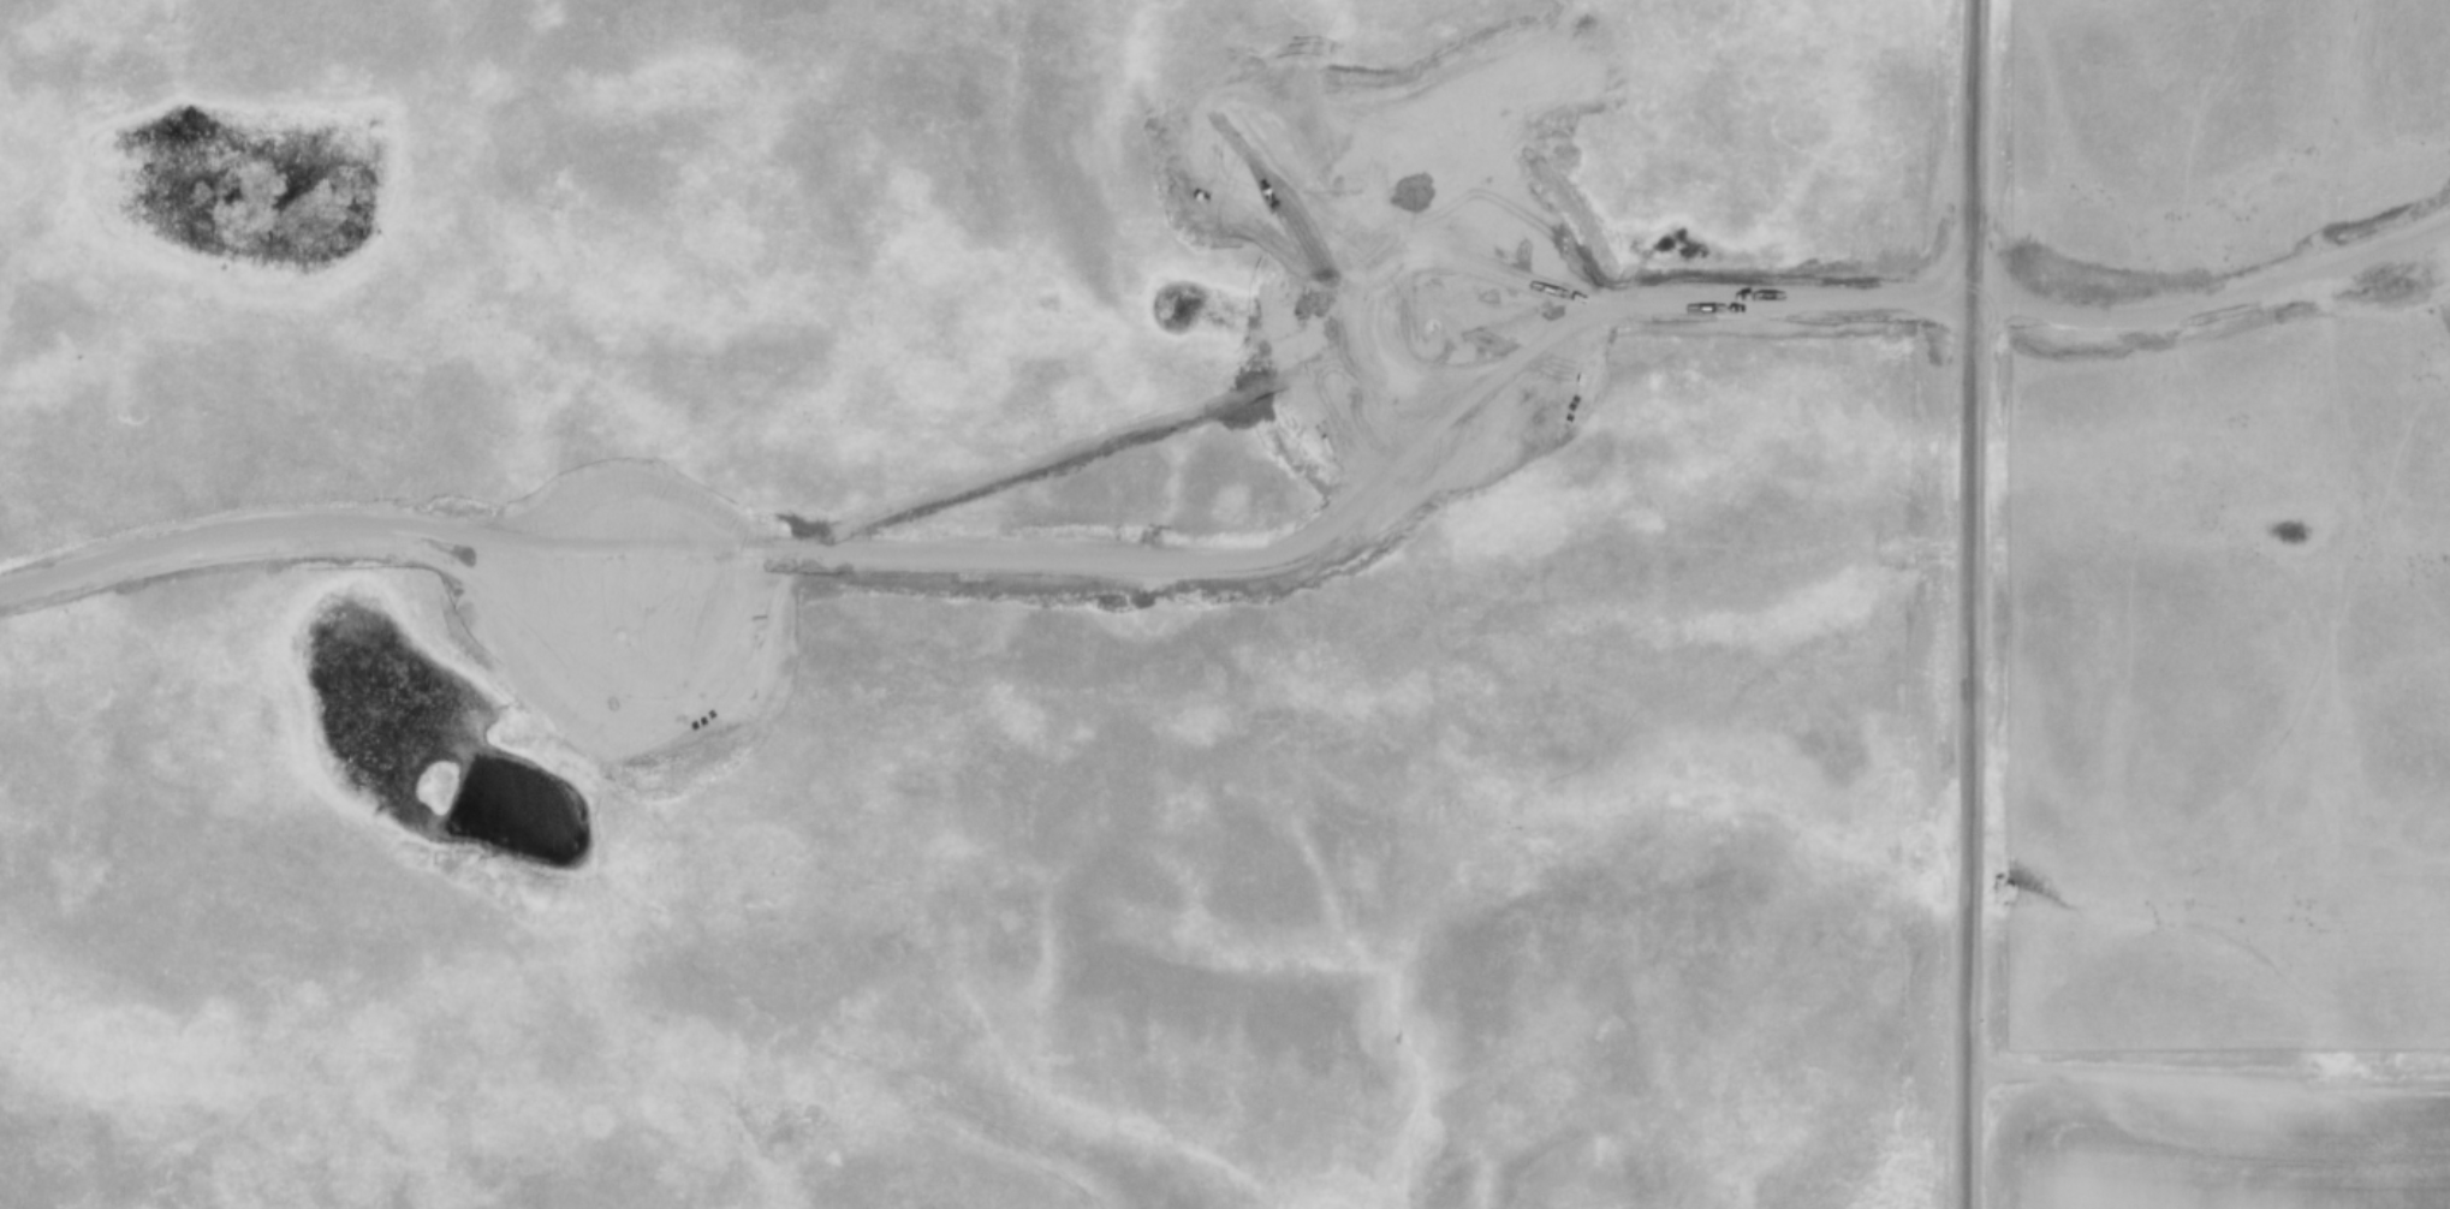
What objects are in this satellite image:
wind turbine: (1435, 318)
road: (1975, 603)
wind turbine: (614, 630)
road: (2211, 1073)

